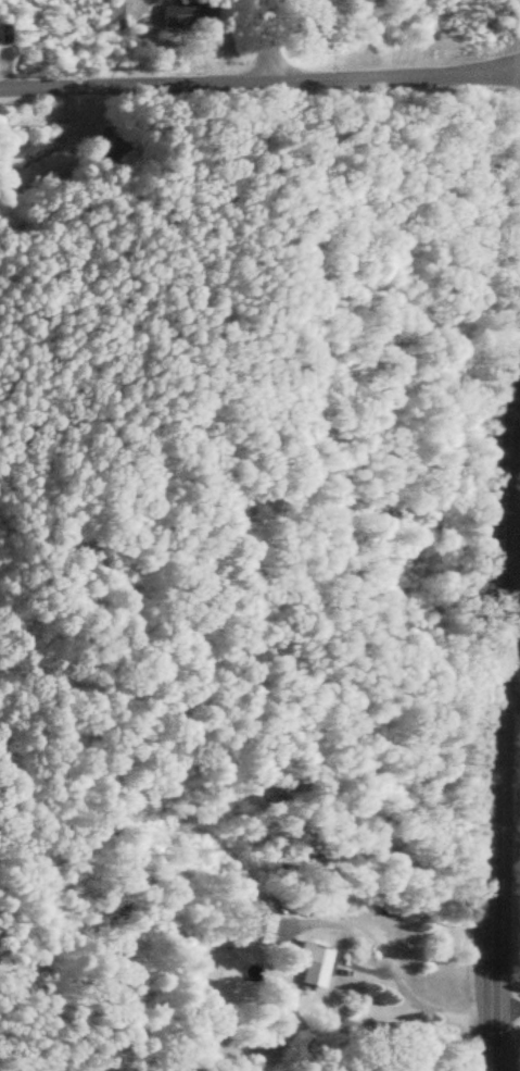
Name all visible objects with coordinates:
building: (180, 14)
road: (270, 37)
road: (261, 75)
road: (513, 323)
road: (487, 650)
road: (504, 684)
building: (253, 929)
building: (303, 963)
road: (386, 970)
road: (503, 1010)

